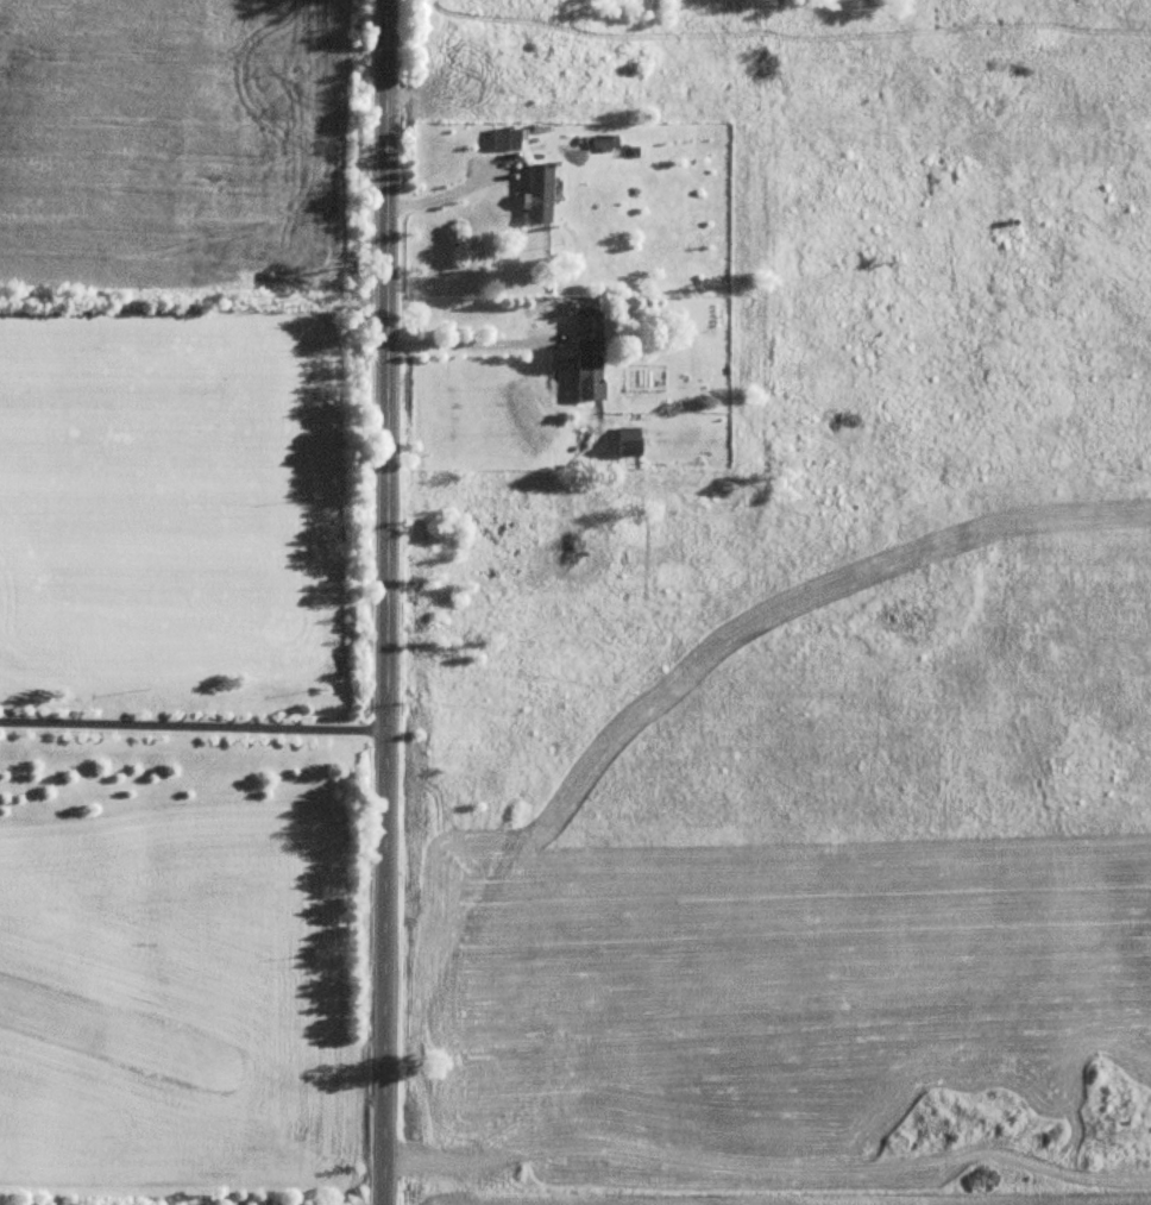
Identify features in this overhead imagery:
road: (449, 186)
building: (536, 194)
building: (585, 331)
road: (466, 346)
building: (585, 378)
building: (624, 443)
road: (386, 602)
road: (193, 729)
crop: (180, 996)
crop: (800, 1199)

